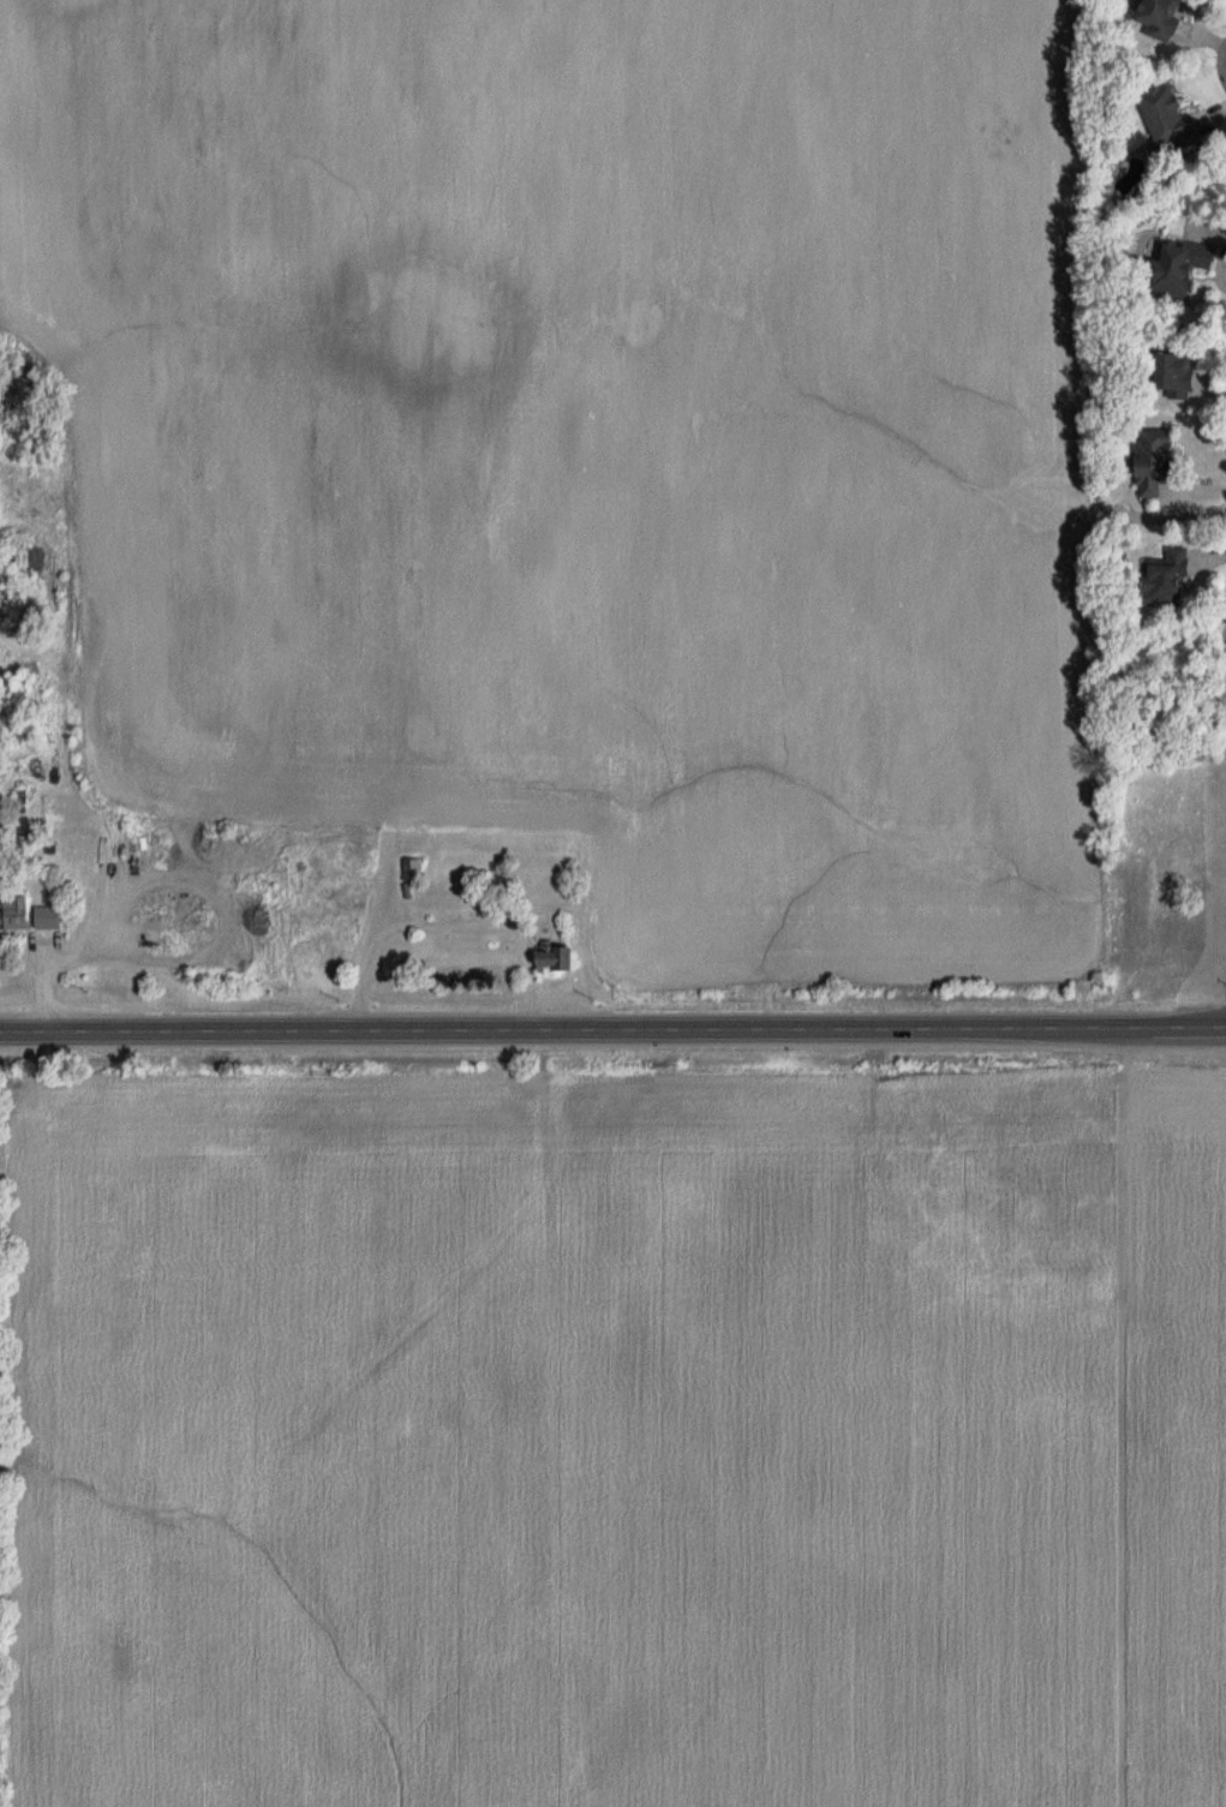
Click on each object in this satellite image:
building: (1164, 19)
building: (1168, 118)
building: (1176, 271)
building: (1176, 373)
building: (1159, 462)
building: (1168, 576)
building: (471, 858)
building: (414, 870)
building: (17, 914)
building: (49, 920)
building: (556, 957)
road: (612, 1028)
crop: (1178, 1436)
crop: (532, 1458)

